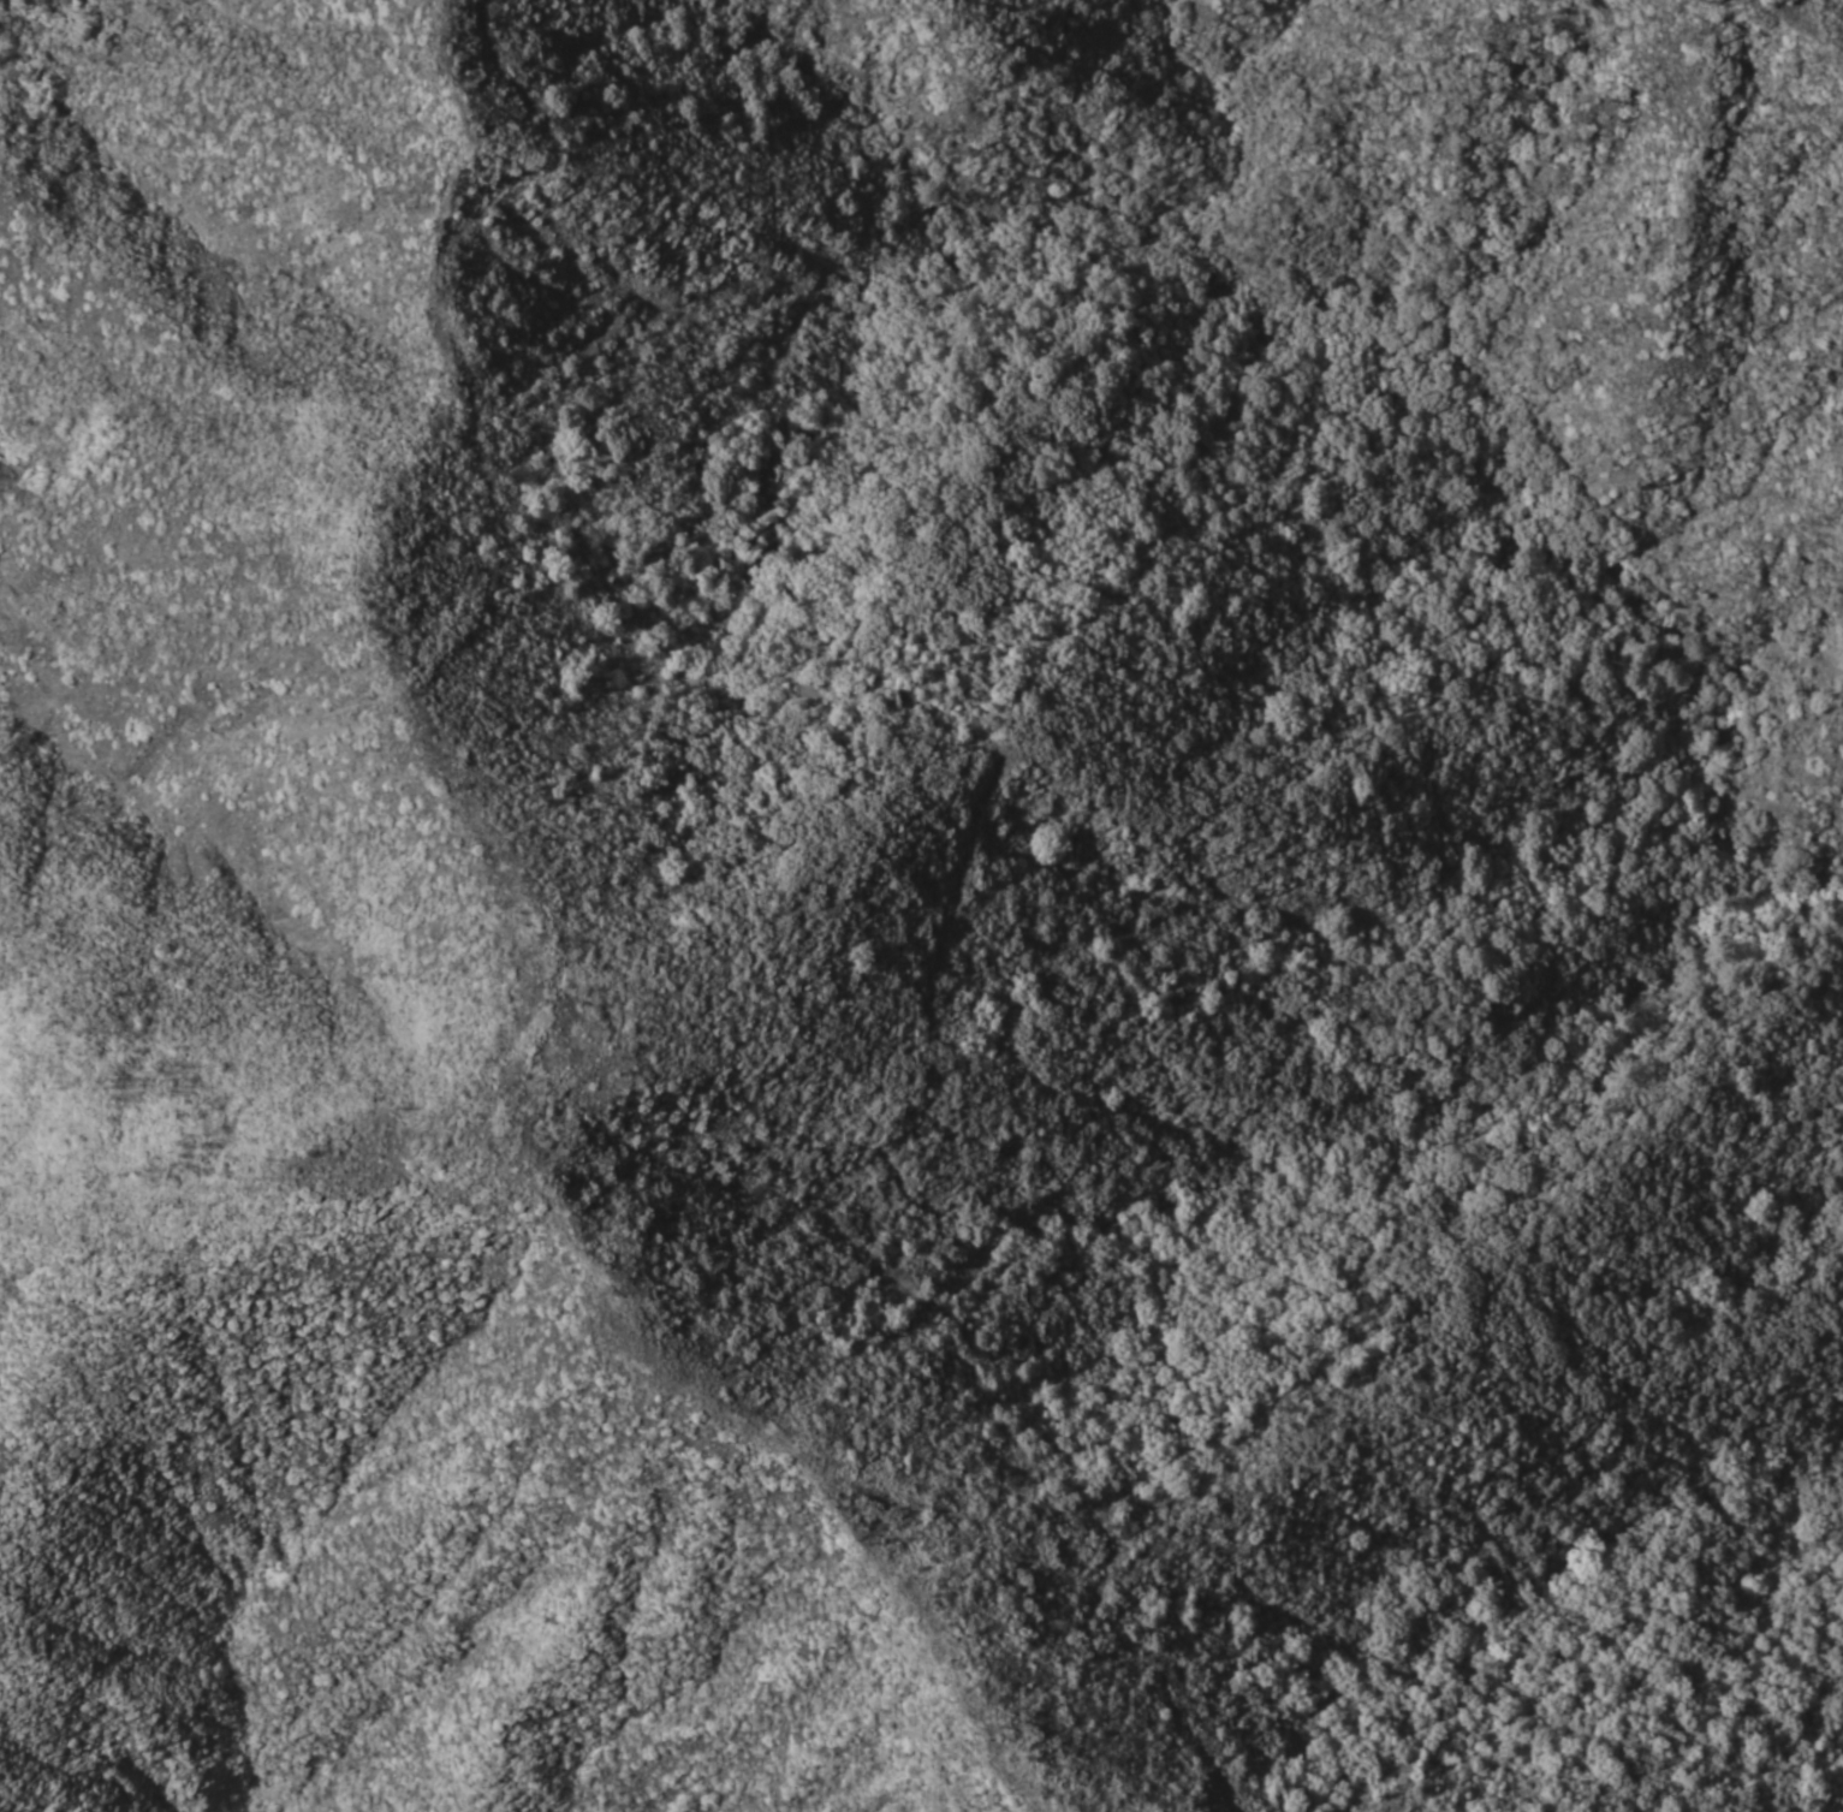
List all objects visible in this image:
road: (1699, 155)

